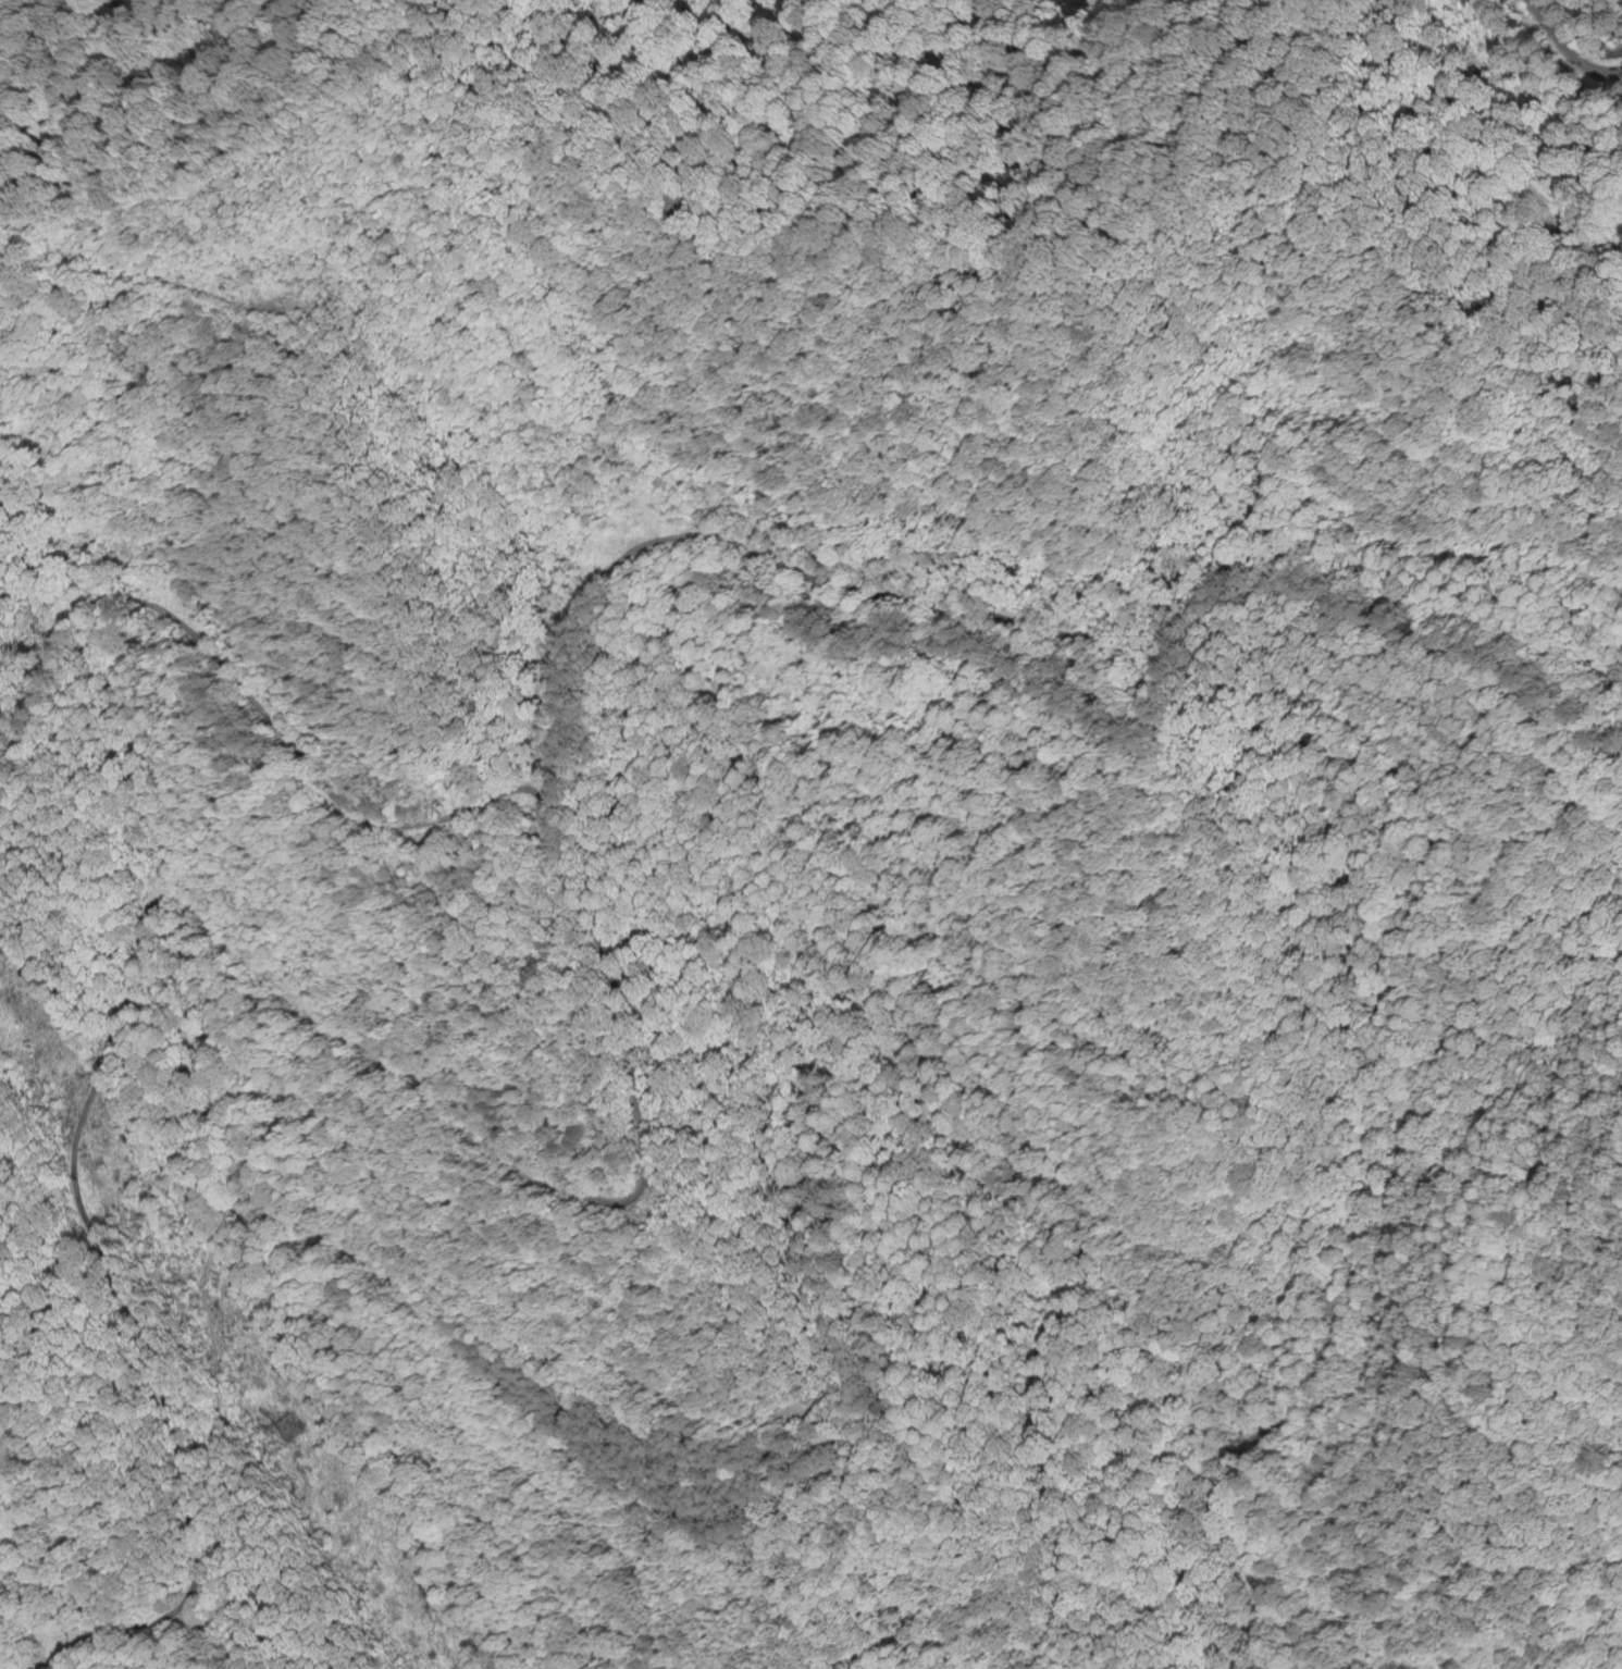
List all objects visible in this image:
power tower: (295, 1430)

